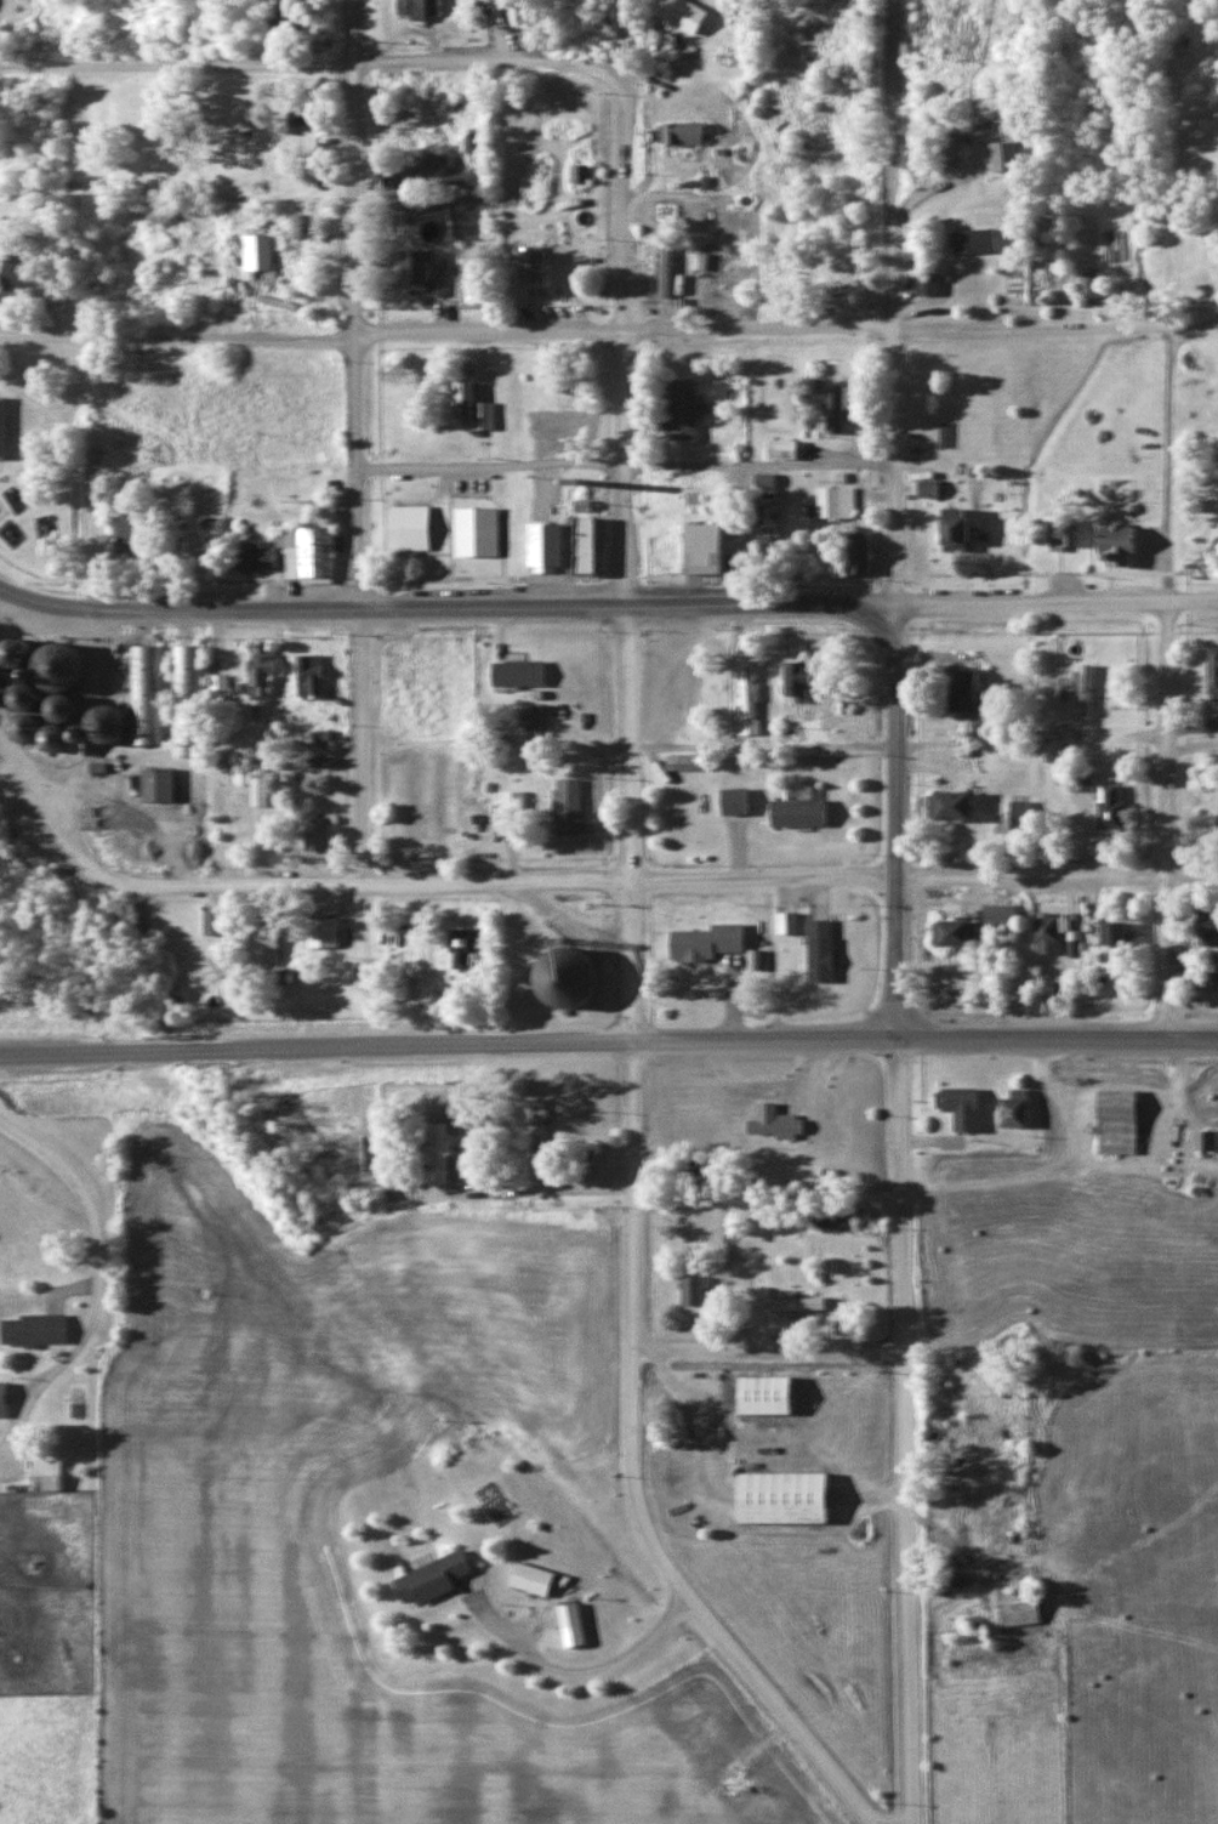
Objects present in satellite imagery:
building: (421, 7)
building: (687, 13)
building: (291, 18)
road: (61, 32)
road: (314, 63)
building: (1008, 155)
building: (978, 240)
building: (537, 263)
building: (423, 267)
road: (895, 301)
road: (353, 303)
road: (609, 330)
building: (689, 407)
building: (307, 487)
building: (838, 500)
road: (628, 519)
building: (955, 523)
building: (417, 528)
building: (483, 528)
building: (1065, 530)
building: (596, 540)
building: (550, 541)
building: (1123, 541)
building: (706, 542)
building: (314, 552)
building: (262, 556)
road: (28, 598)
road: (787, 603)
road: (206, 609)
building: (266, 672)
building: (524, 672)
building: (314, 676)
building: (809, 680)
road: (1171, 683)
building: (222, 688)
building: (189, 694)
building: (147, 697)
building: (537, 716)
road: (363, 745)
building: (1085, 778)
road: (18, 782)
building: (741, 800)
building: (518, 802)
building: (964, 805)
building: (573, 806)
building: (807, 812)
building: (1014, 813)
road: (899, 820)
building: (324, 833)
road: (610, 882)
building: (1006, 916)
building: (332, 932)
building: (966, 932)
building: (1053, 934)
building: (1125, 934)
building: (825, 938)
road: (608, 1040)
building: (769, 1118)
building: (1122, 1120)
road: (905, 1187)
building: (536, 1286)
building: (699, 1289)
building: (803, 1302)
road: (641, 1324)
building: (50, 1328)
building: (775, 1393)
building: (6, 1398)
building: (793, 1495)
building: (440, 1578)
road: (912, 1579)
building: (1026, 1608)
road: (786, 1709)

